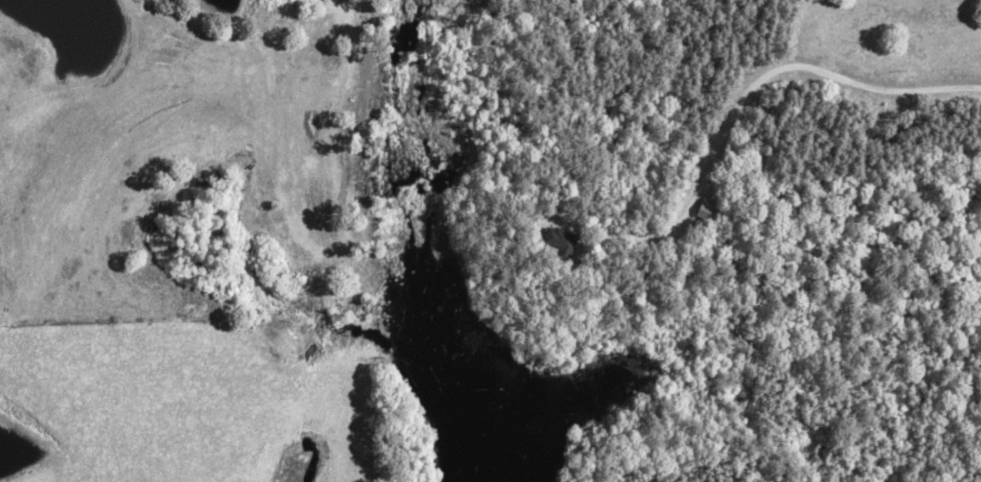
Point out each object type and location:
building: (558, 242)

